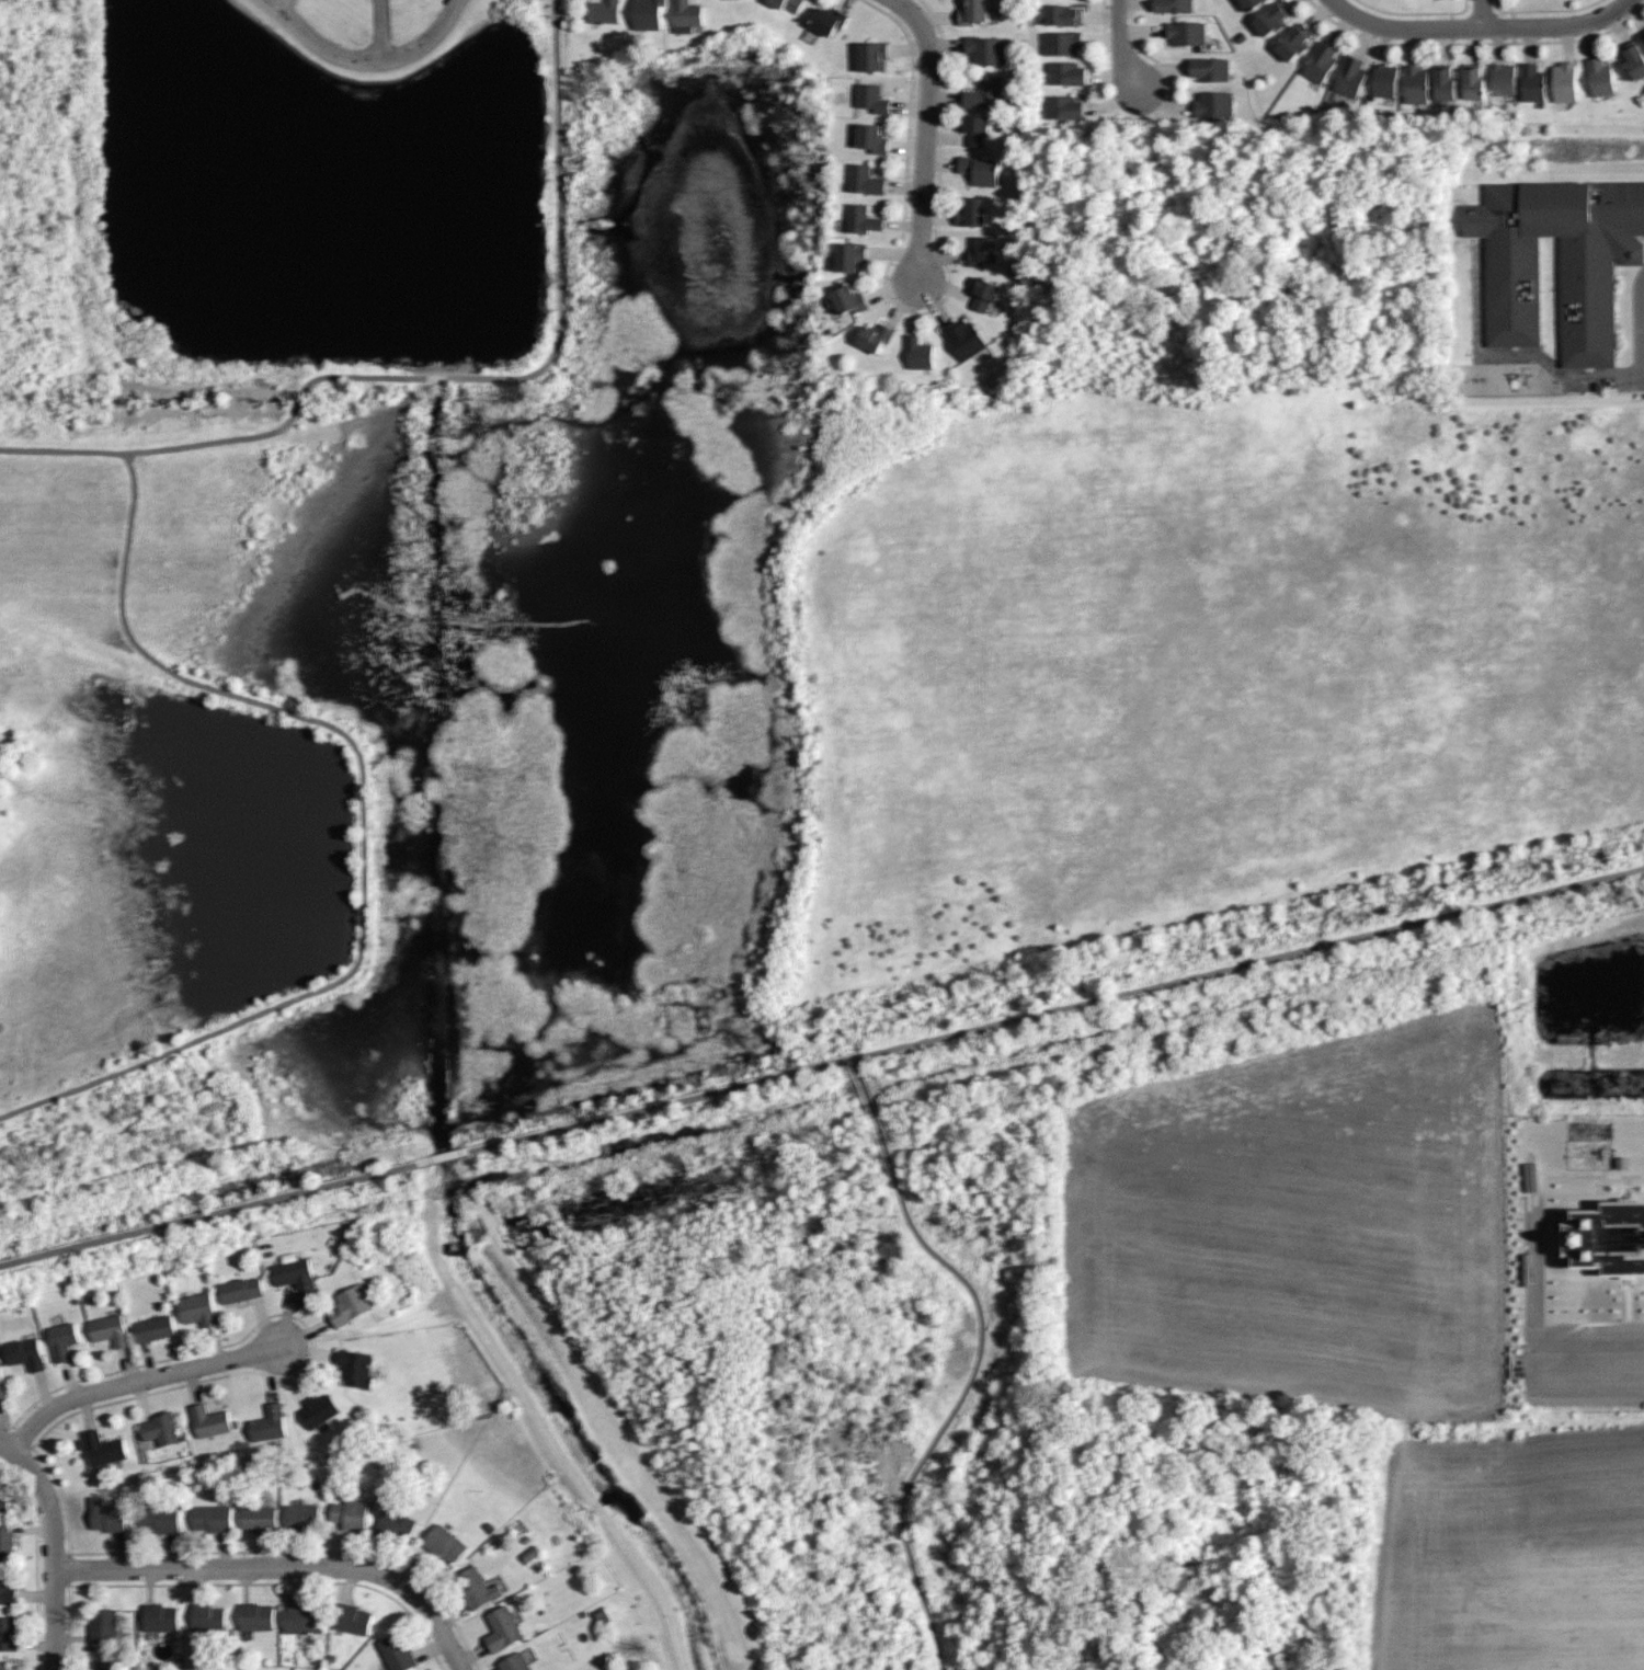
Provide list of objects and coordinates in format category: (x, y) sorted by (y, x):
building: (723, 0)
building: (787, 4)
building: (1253, 4)
building: (1173, 7)
building: (605, 12)
building: (688, 12)
building: (973, 12)
road: (1482, 13)
building: (649, 15)
building: (1063, 15)
building: (1272, 19)
building: (827, 22)
road: (1480, 26)
road: (379, 30)
building: (1187, 32)
building: (1643, 38)
building: (1062, 43)
building: (1294, 43)
building: (984, 49)
road: (1120, 53)
building: (871, 57)
road: (364, 59)
building: (1633, 59)
building: (1320, 62)
building: (1209, 70)
building: (1064, 71)
building: (1350, 76)
building: (1598, 77)
building: (1385, 79)
building: (1503, 80)
building: (1473, 82)
building: (1531, 82)
building: (1564, 82)
building: (1416, 84)
building: (1445, 87)
building: (984, 93)
building: (870, 98)
building: (1213, 104)
building: (1061, 106)
building: (975, 129)
road: (935, 134)
building: (872, 138)
building: (980, 171)
building: (865, 181)
building: (971, 213)
building: (861, 219)
building: (985, 251)
building: (850, 256)
building: (983, 294)
building: (845, 300)
building: (1590, 301)
road: (1643, 328)
building: (874, 336)
building: (966, 338)
road: (1517, 353)
building: (918, 354)
road: (443, 377)
road: (1643, 379)
road: (364, 831)
building: (1534, 1178)
crop: (1302, 1221)
building: (1608, 1238)
building: (293, 1274)
building: (239, 1288)
building: (349, 1305)
building: (198, 1308)
building: (150, 1328)
building: (107, 1329)
building: (66, 1339)
building: (28, 1351)
road: (977, 1362)
road: (1538, 1366)
building: (354, 1368)
road: (135, 1381)
building: (3, 1385)
building: (318, 1409)
building: (207, 1419)
building: (267, 1421)
building: (159, 1428)
building: (100, 1446)
building: (107, 1514)
building: (350, 1514)
building: (301, 1515)
building: (261, 1517)
building: (159, 1518)
building: (213, 1518)
building: (393, 1526)
building: (7, 1542)
building: (442, 1544)
road: (52, 1547)
crop: (1512, 1552)
road: (208, 1567)
building: (476, 1588)
building: (7, 1589)
road: (425, 1605)
building: (159, 1616)
building: (206, 1616)
building: (255, 1616)
building: (302, 1617)
building: (352, 1617)
building: (102, 1626)
building: (502, 1628)
building: (7, 1634)
building: (396, 1651)
building: (514, 1662)
building: (1, 1667)
building: (102, 1668)

